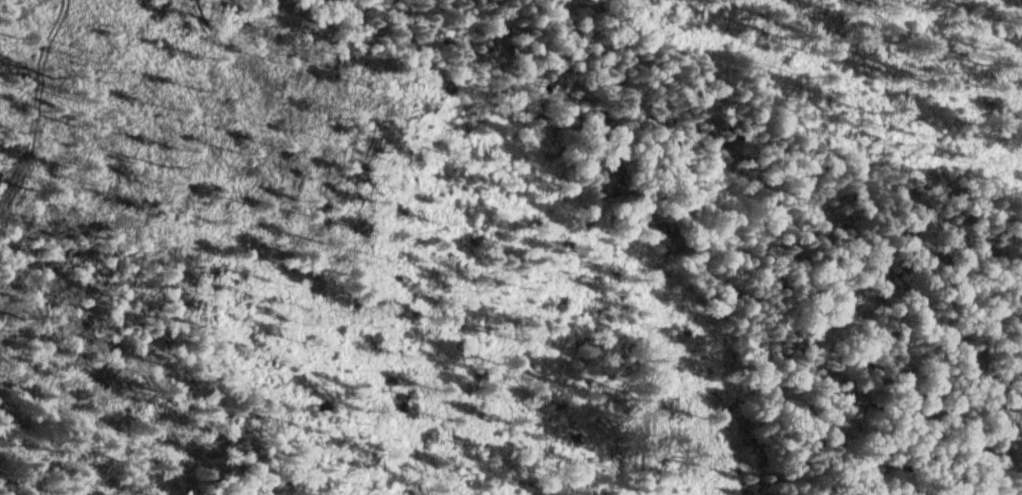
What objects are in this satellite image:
road: (926, 43)

